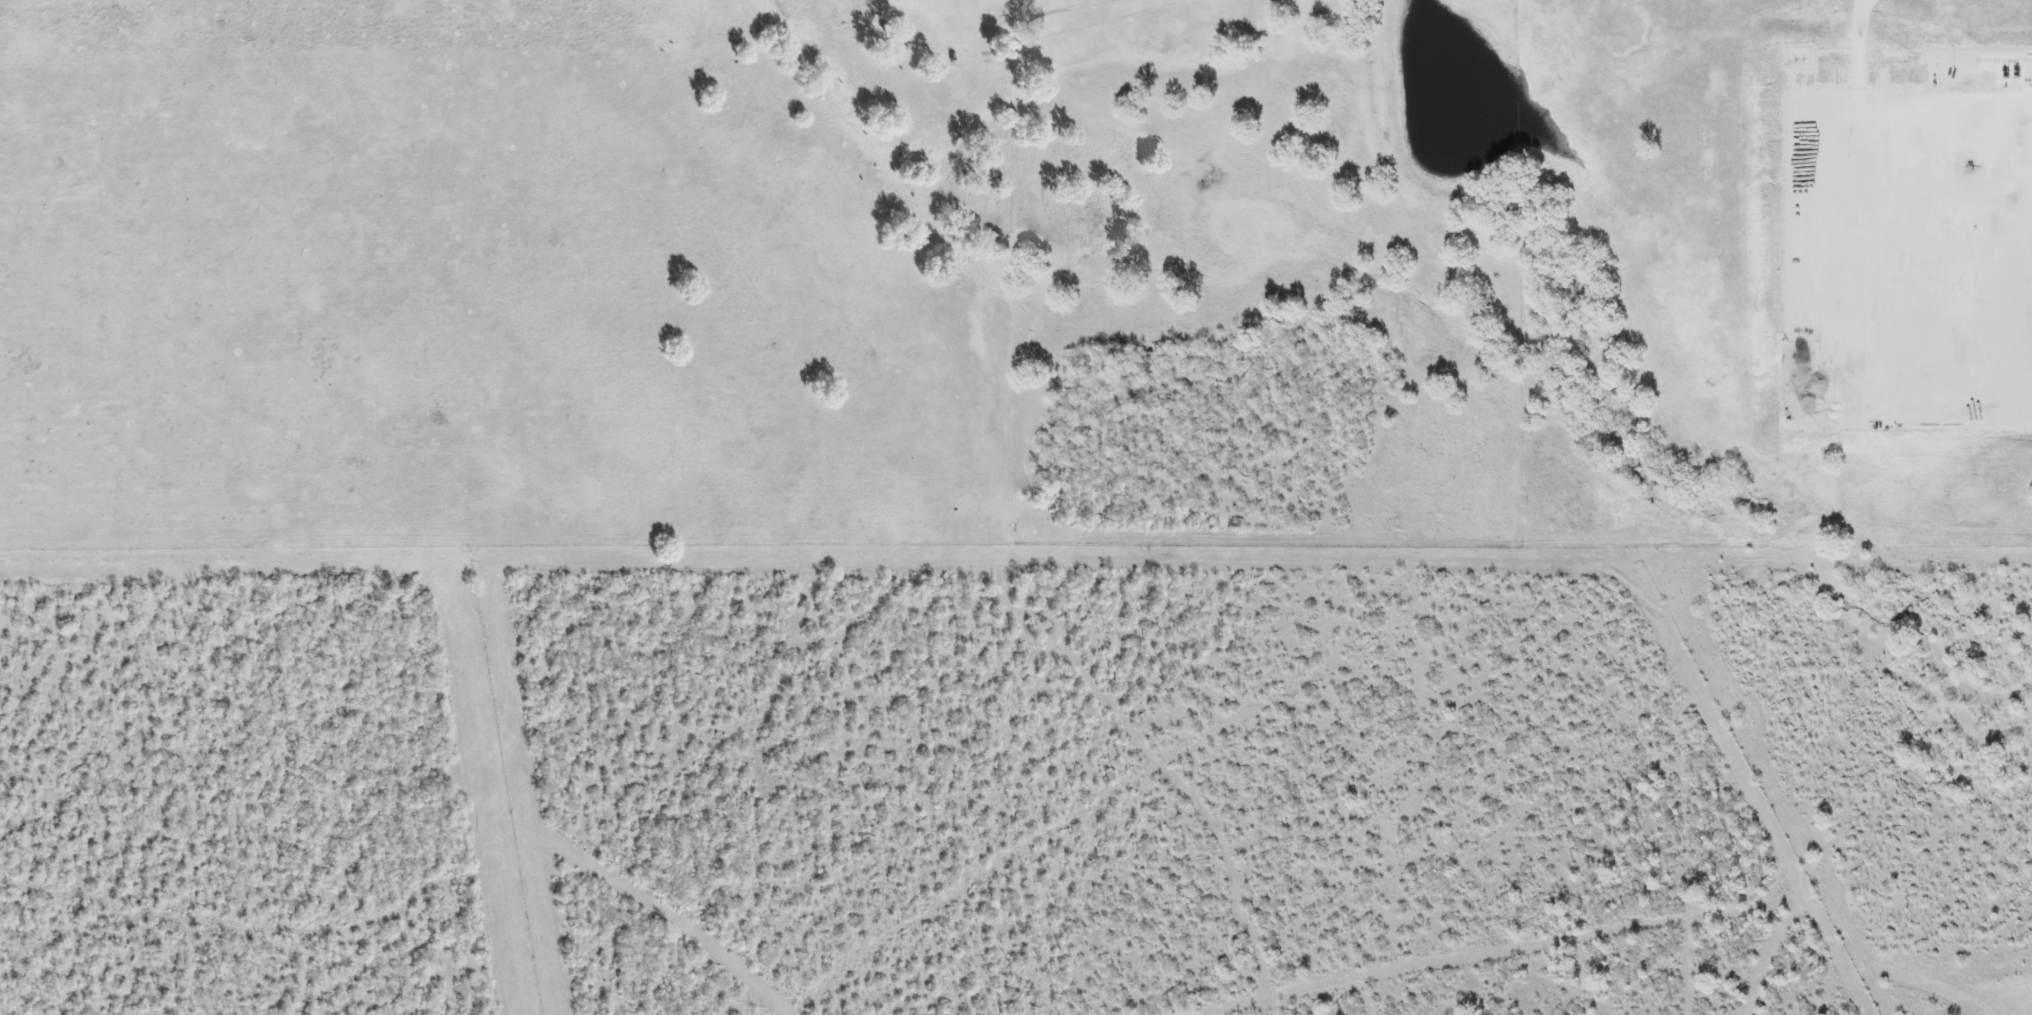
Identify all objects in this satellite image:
road: (1865, 17)

